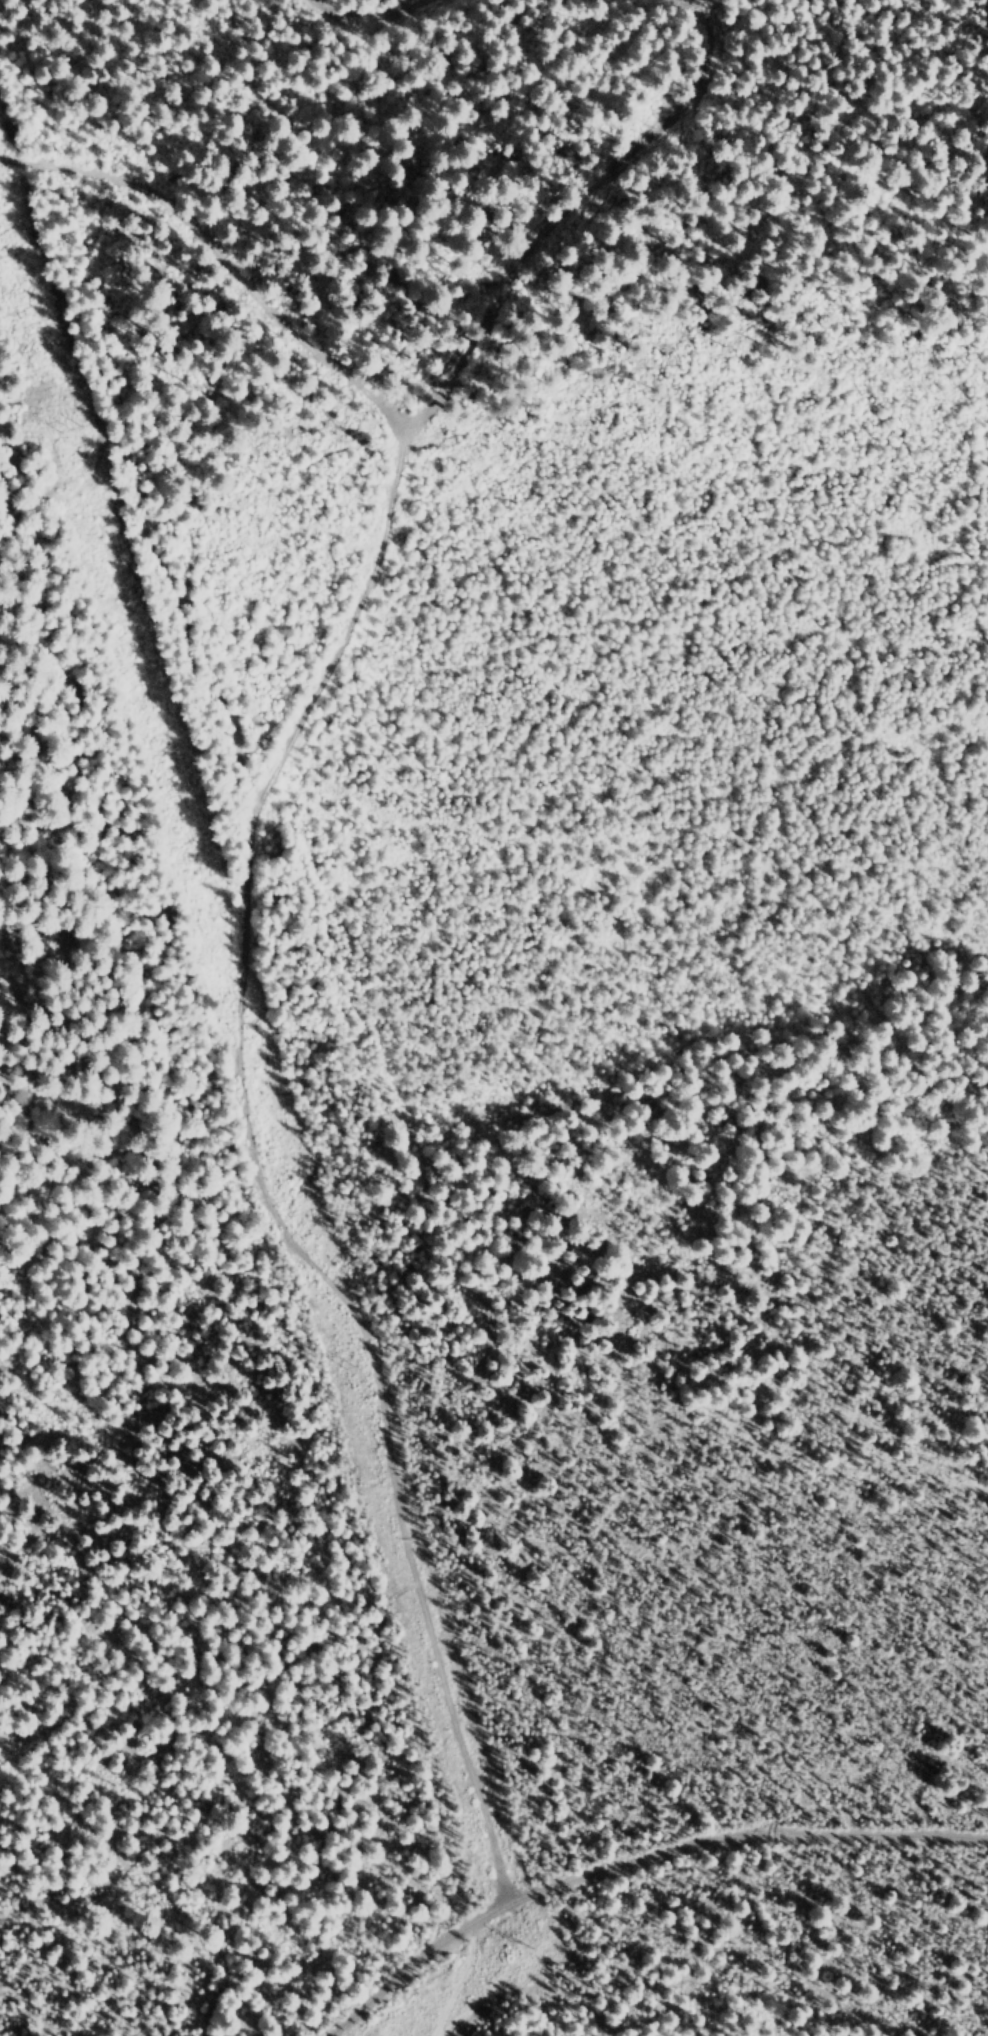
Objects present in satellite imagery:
road: (327, 4)
road: (595, 201)
road: (224, 252)
road: (248, 1175)
road: (639, 1868)
road: (457, 1974)

